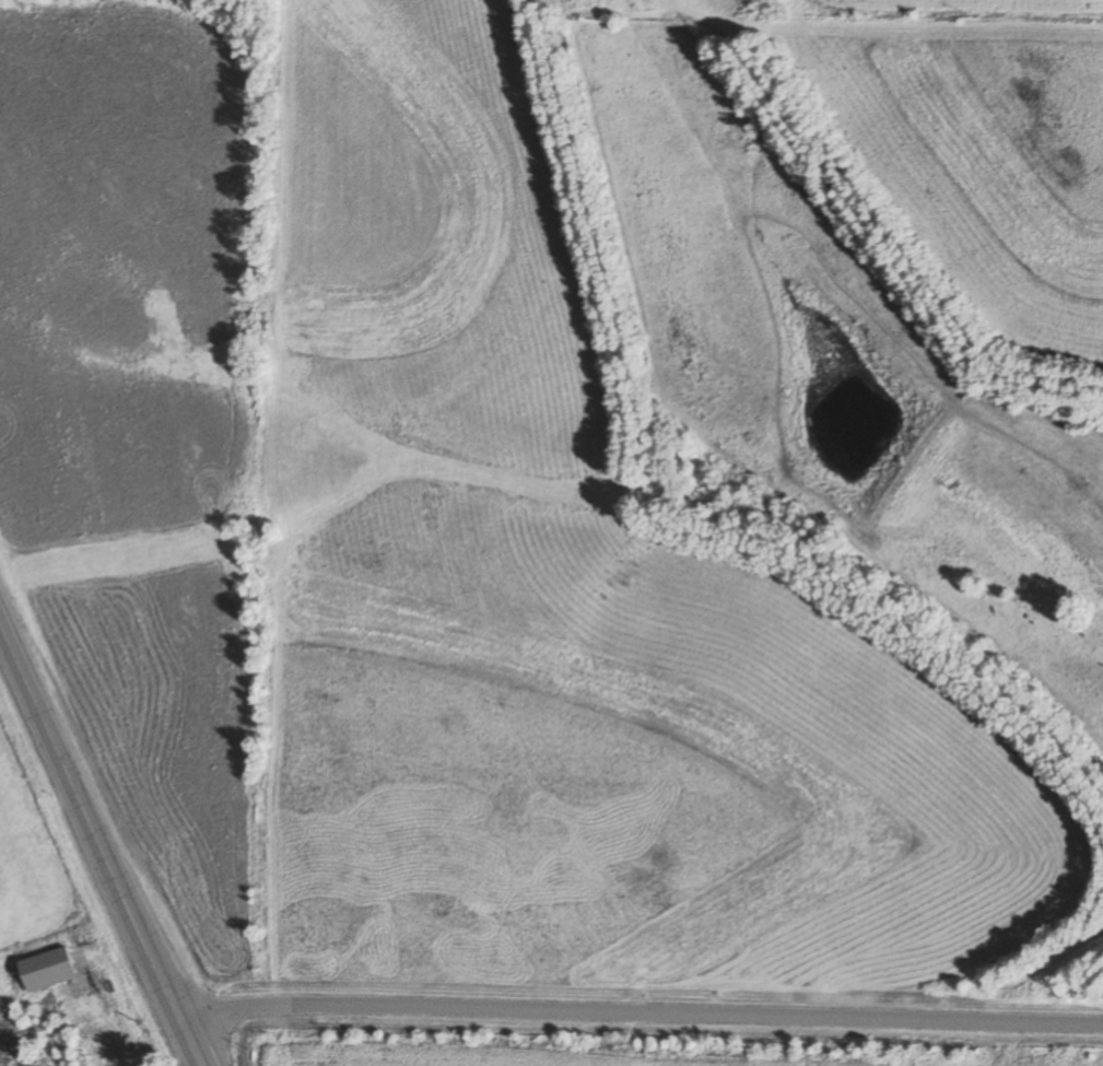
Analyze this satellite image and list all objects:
road: (105, 846)
building: (47, 971)
road: (646, 1014)

